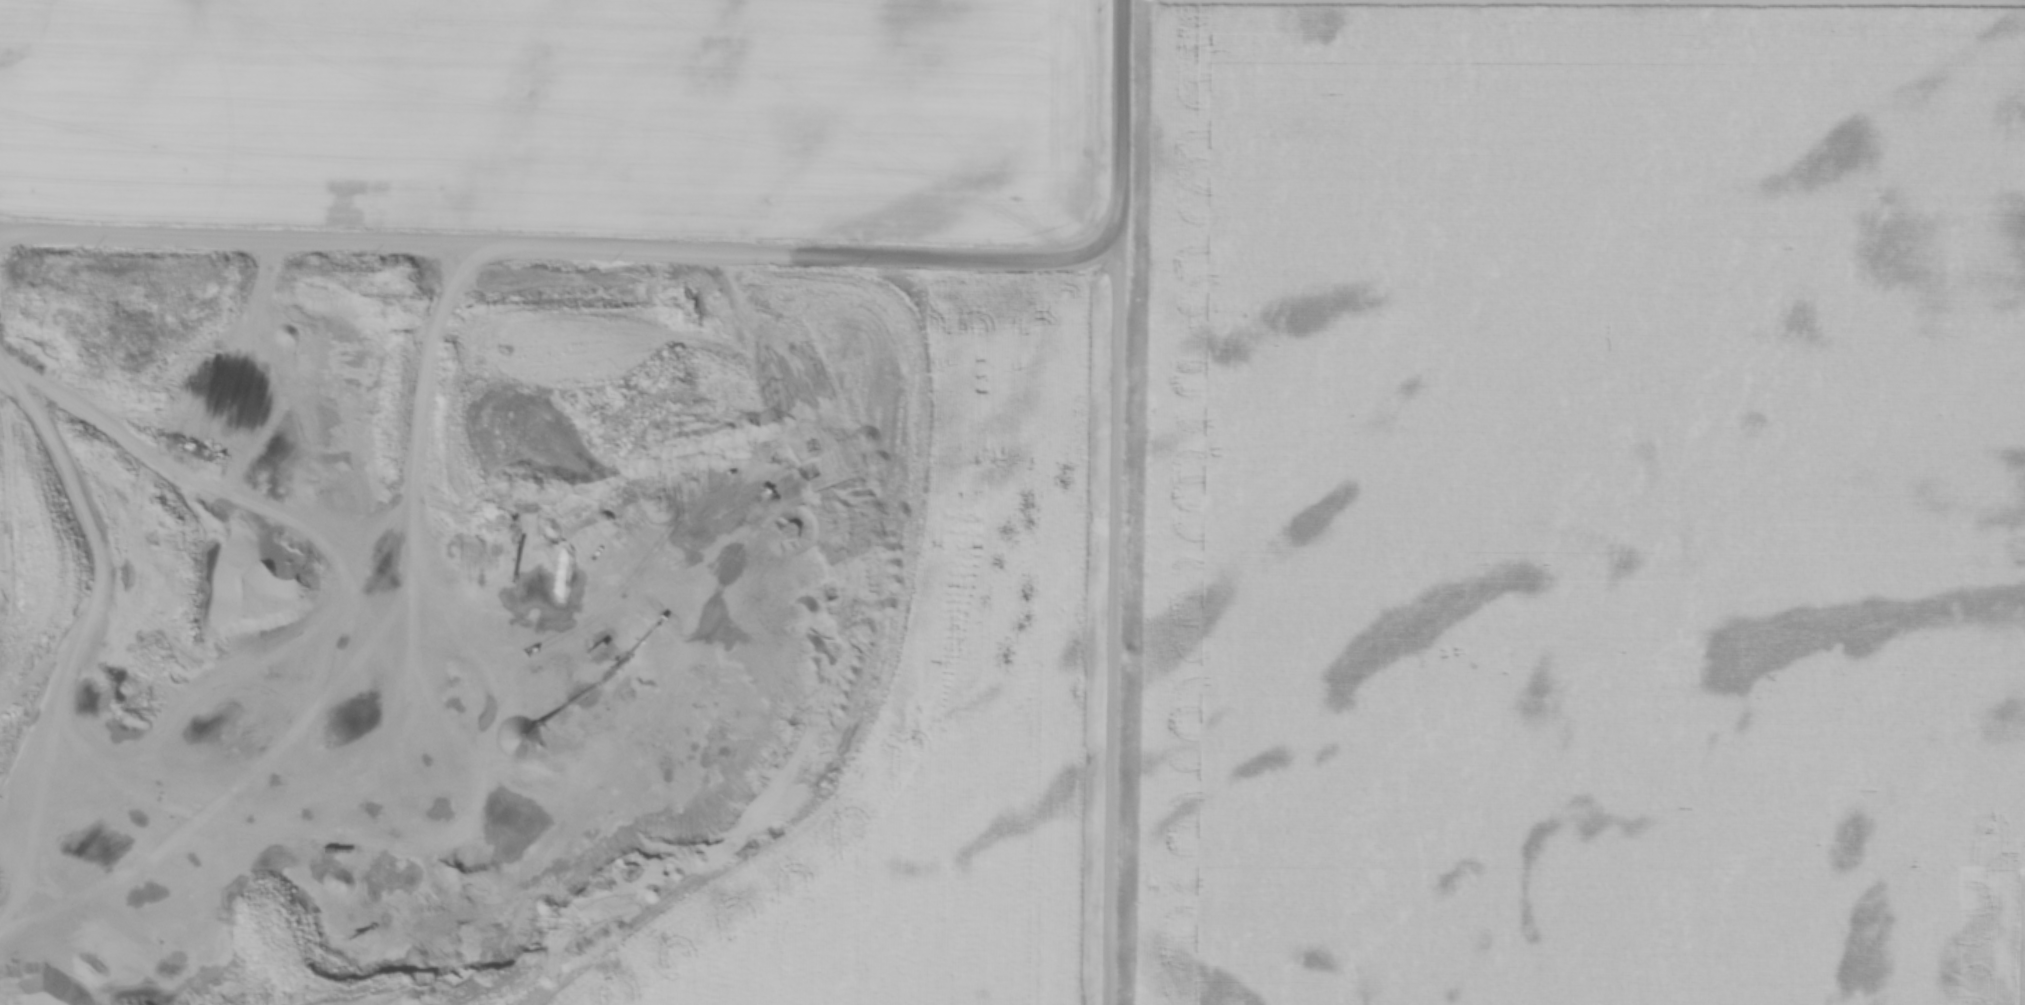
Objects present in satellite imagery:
road: (560, 266)
road: (1118, 502)

